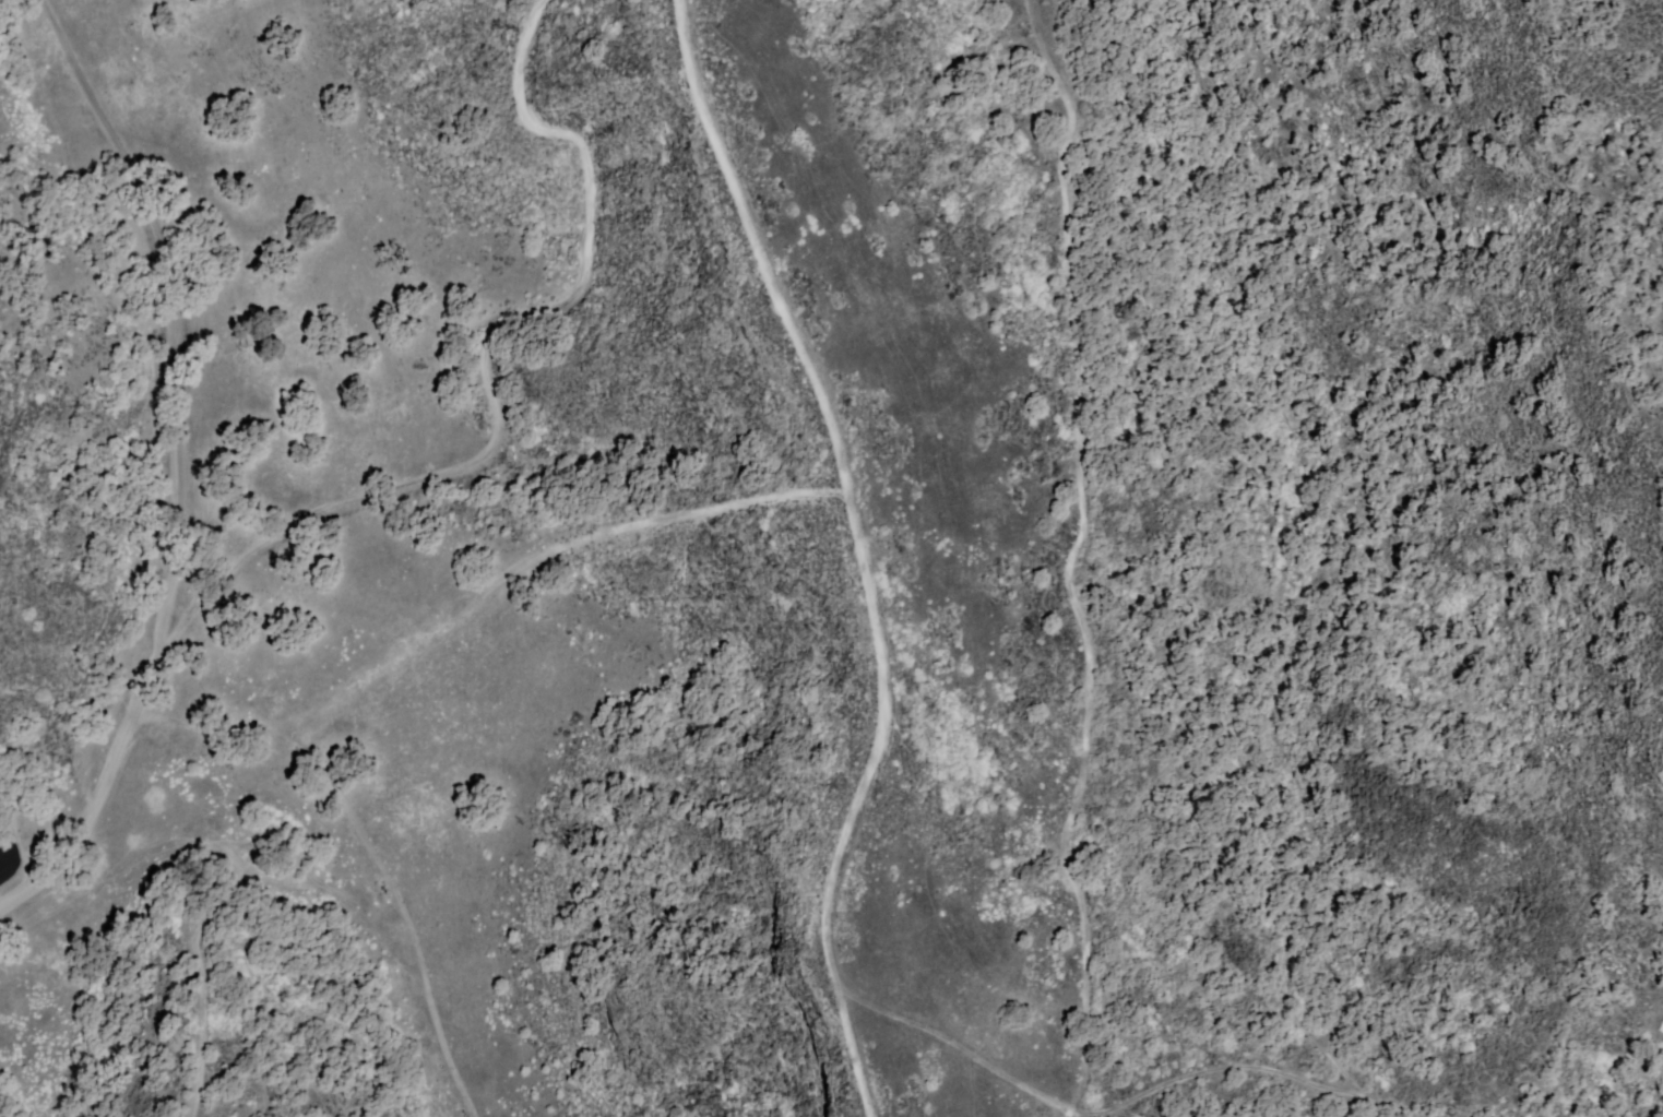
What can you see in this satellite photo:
road: (163, 314)
road: (415, 475)
road: (845, 786)

